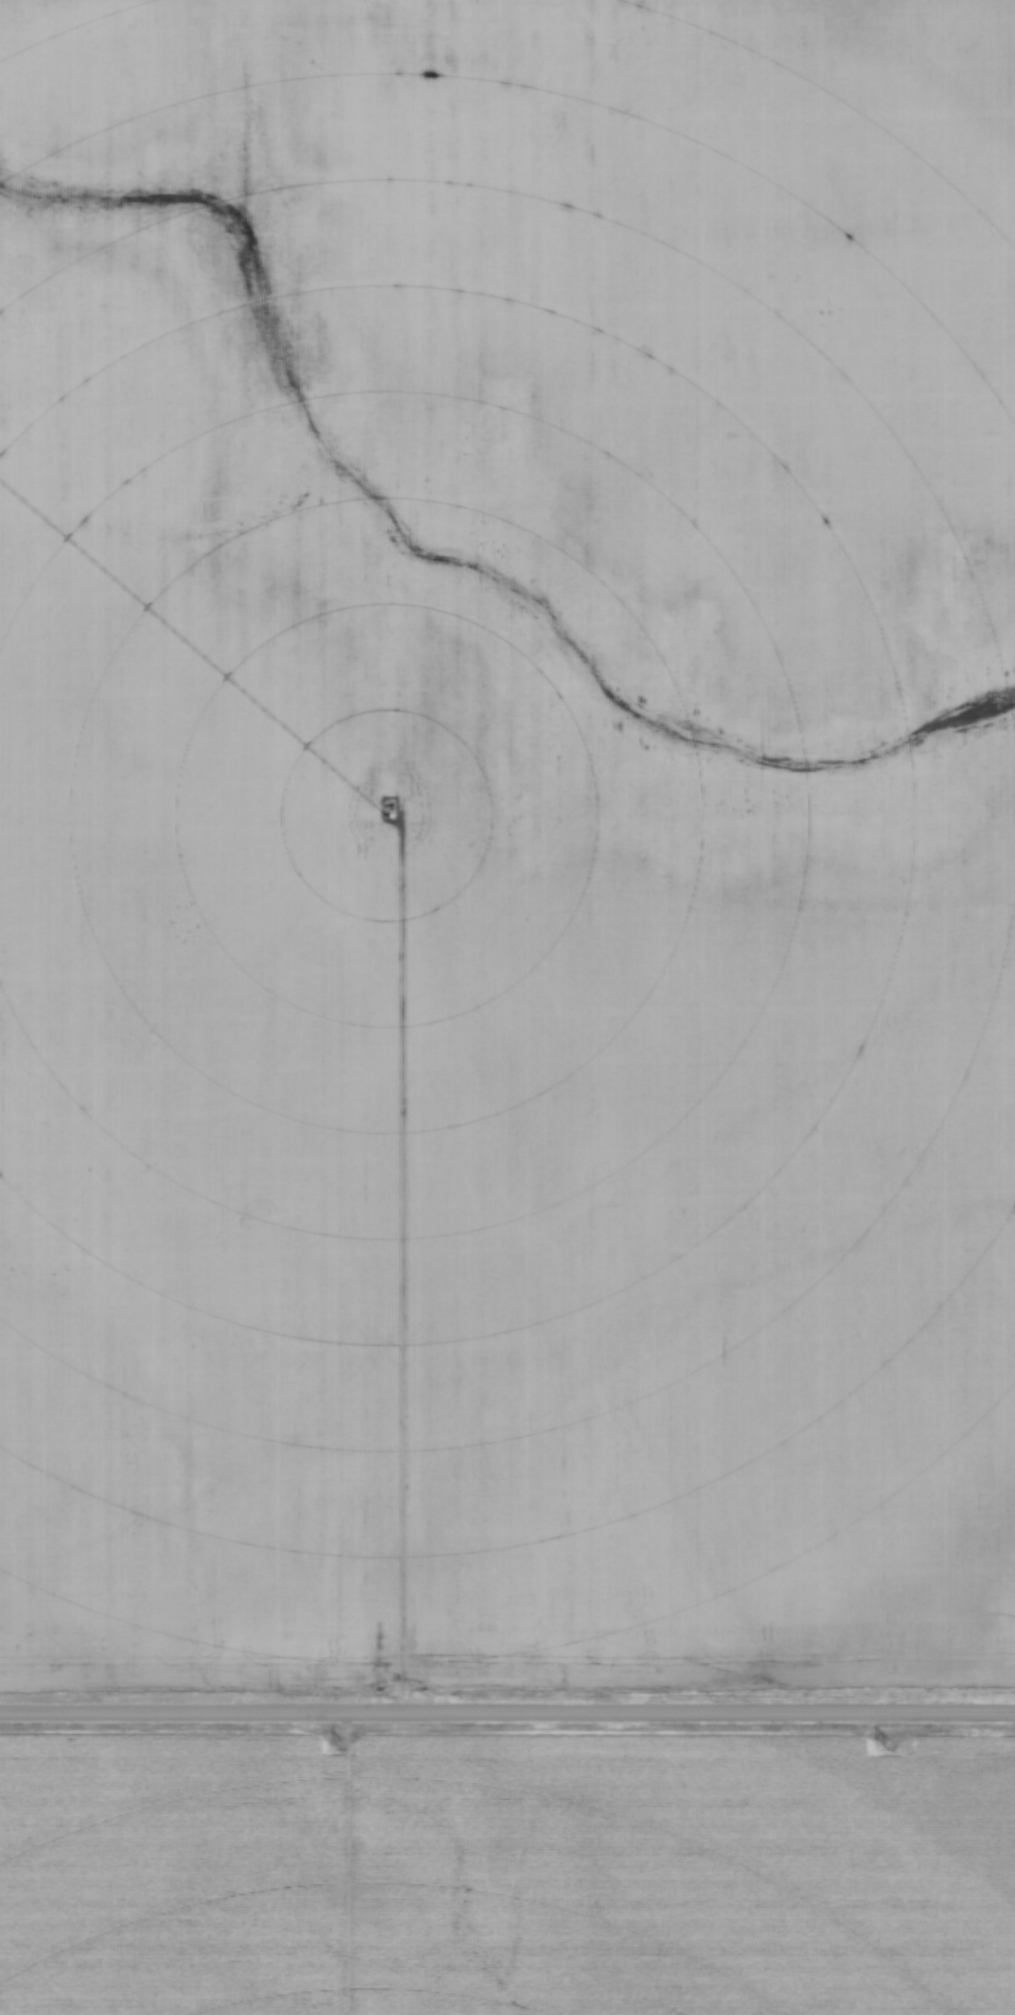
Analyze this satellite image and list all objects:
road: (507, 1712)
power tower: (341, 1744)
power tower: (888, 1744)

